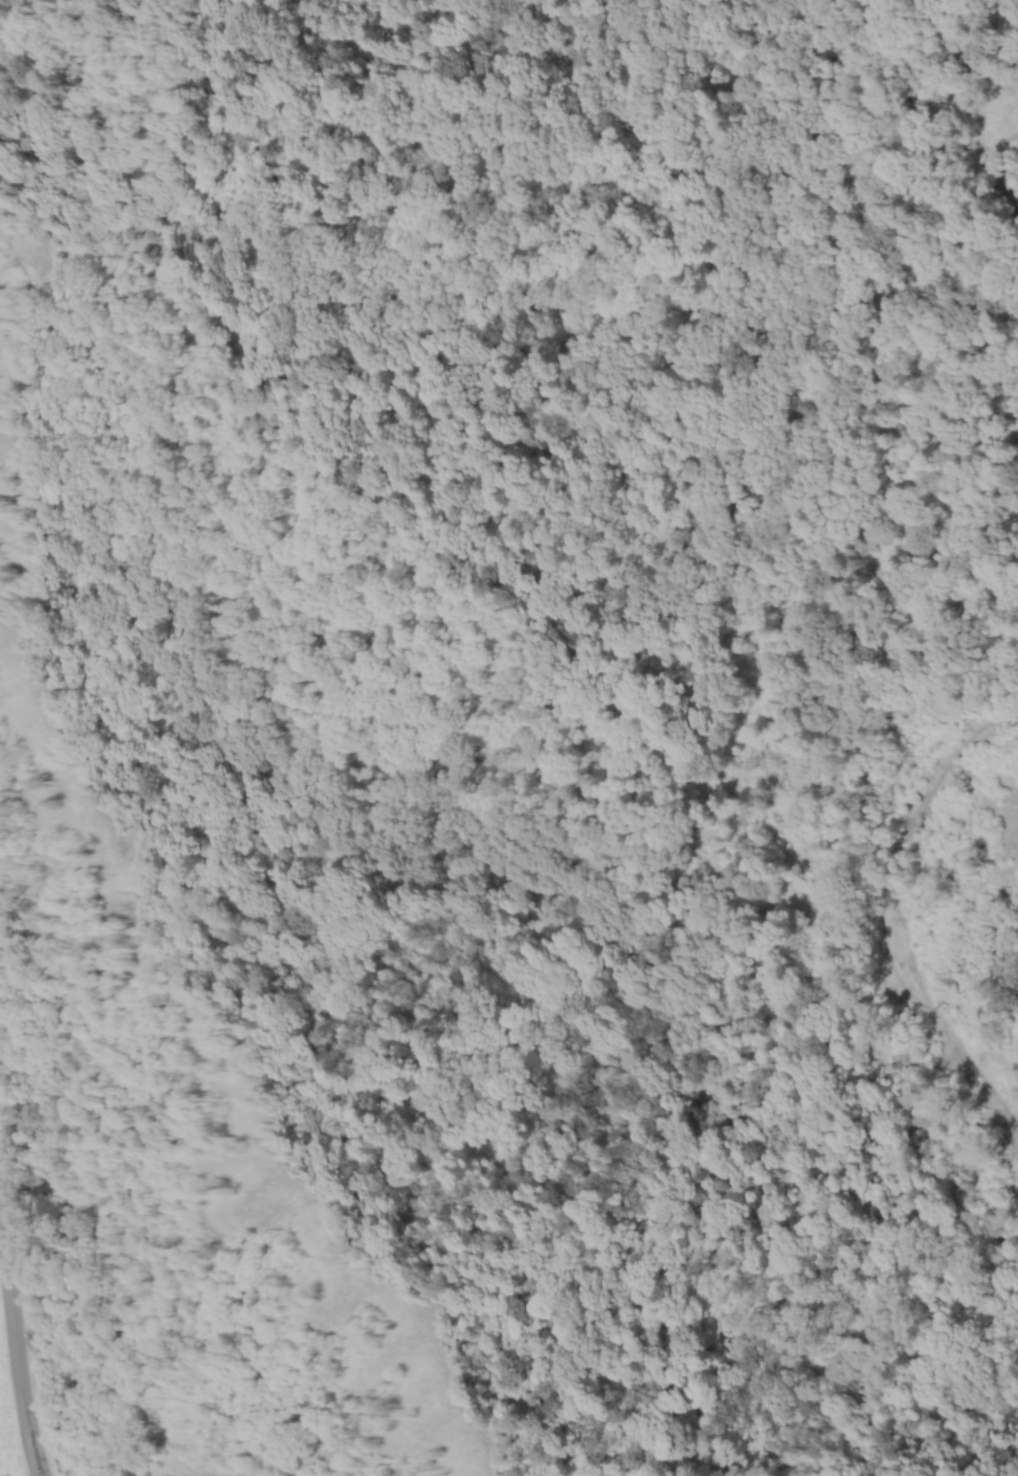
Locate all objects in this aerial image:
road: (14, 1375)

